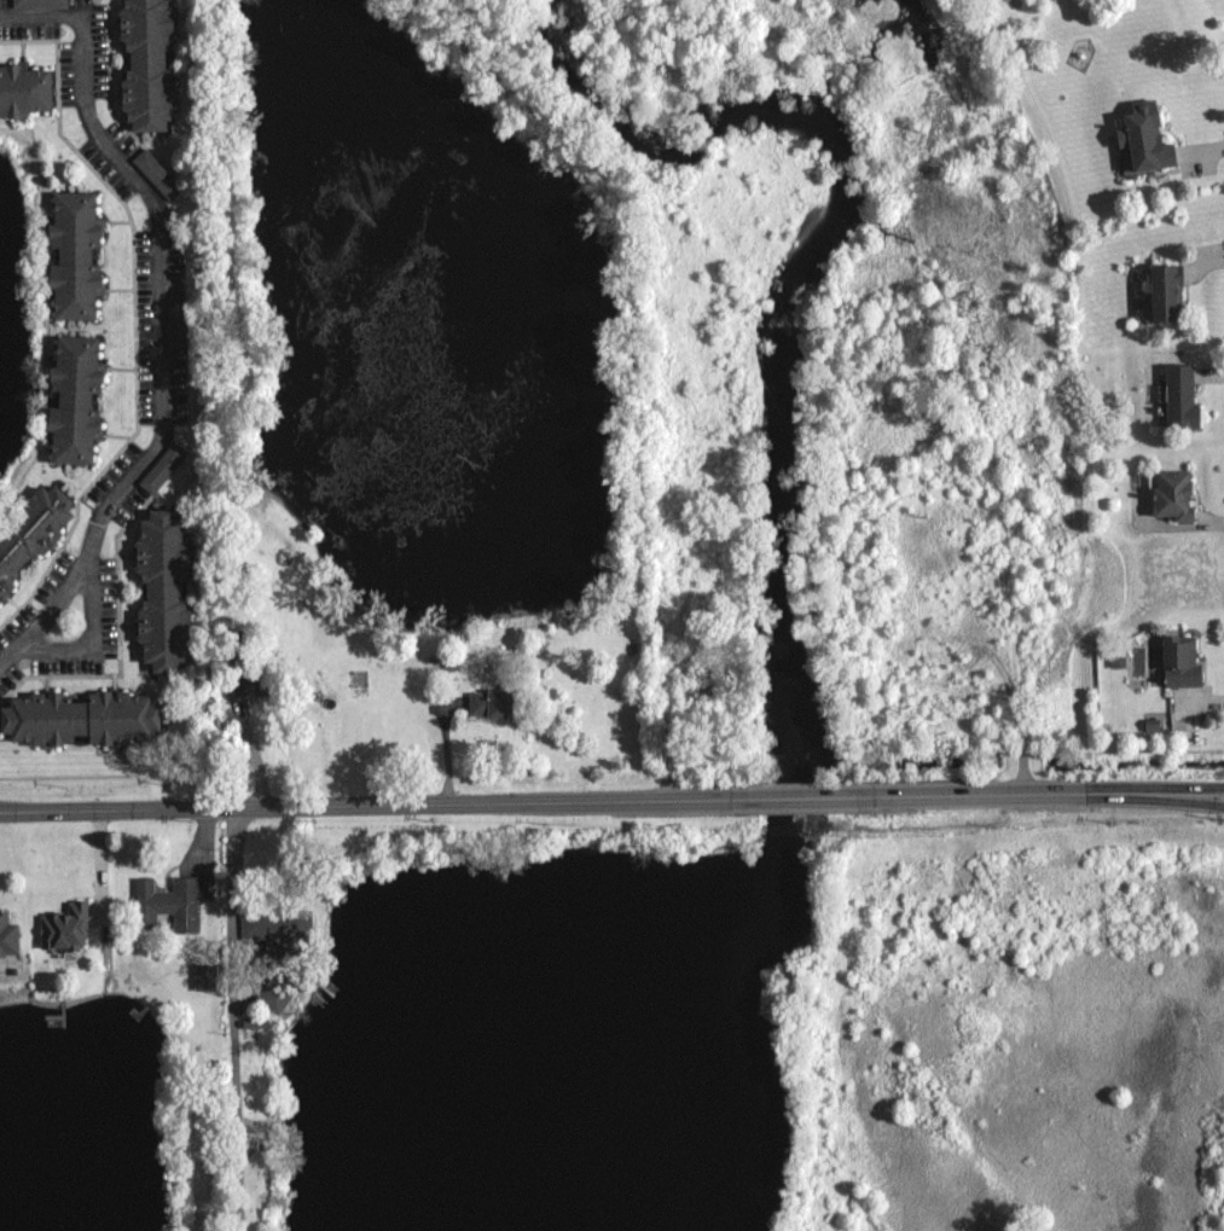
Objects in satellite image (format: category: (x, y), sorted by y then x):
building: (40, 2)
road: (36, 13)
building: (152, 63)
park: (578, 79)
building: (24, 88)
building: (1150, 138)
building: (157, 172)
building: (81, 254)
building: (1170, 289)
building: (178, 324)
road: (163, 352)
building: (1183, 395)
building: (81, 397)
building: (164, 468)
building: (1170, 490)
building: (31, 532)
building: (178, 581)
road: (103, 641)
building: (1184, 660)
building: (1118, 663)
building: (452, 667)
building: (256, 679)
building: (497, 703)
building: (83, 718)
building: (1153, 725)
road: (446, 751)
road: (1033, 795)
road: (1214, 795)
road: (797, 797)
road: (372, 806)
building: (173, 900)
building: (64, 925)
building: (279, 929)
building: (10, 936)
building: (193, 963)
building: (204, 977)
building: (275, 992)
road: (232, 1020)
building: (249, 1026)

